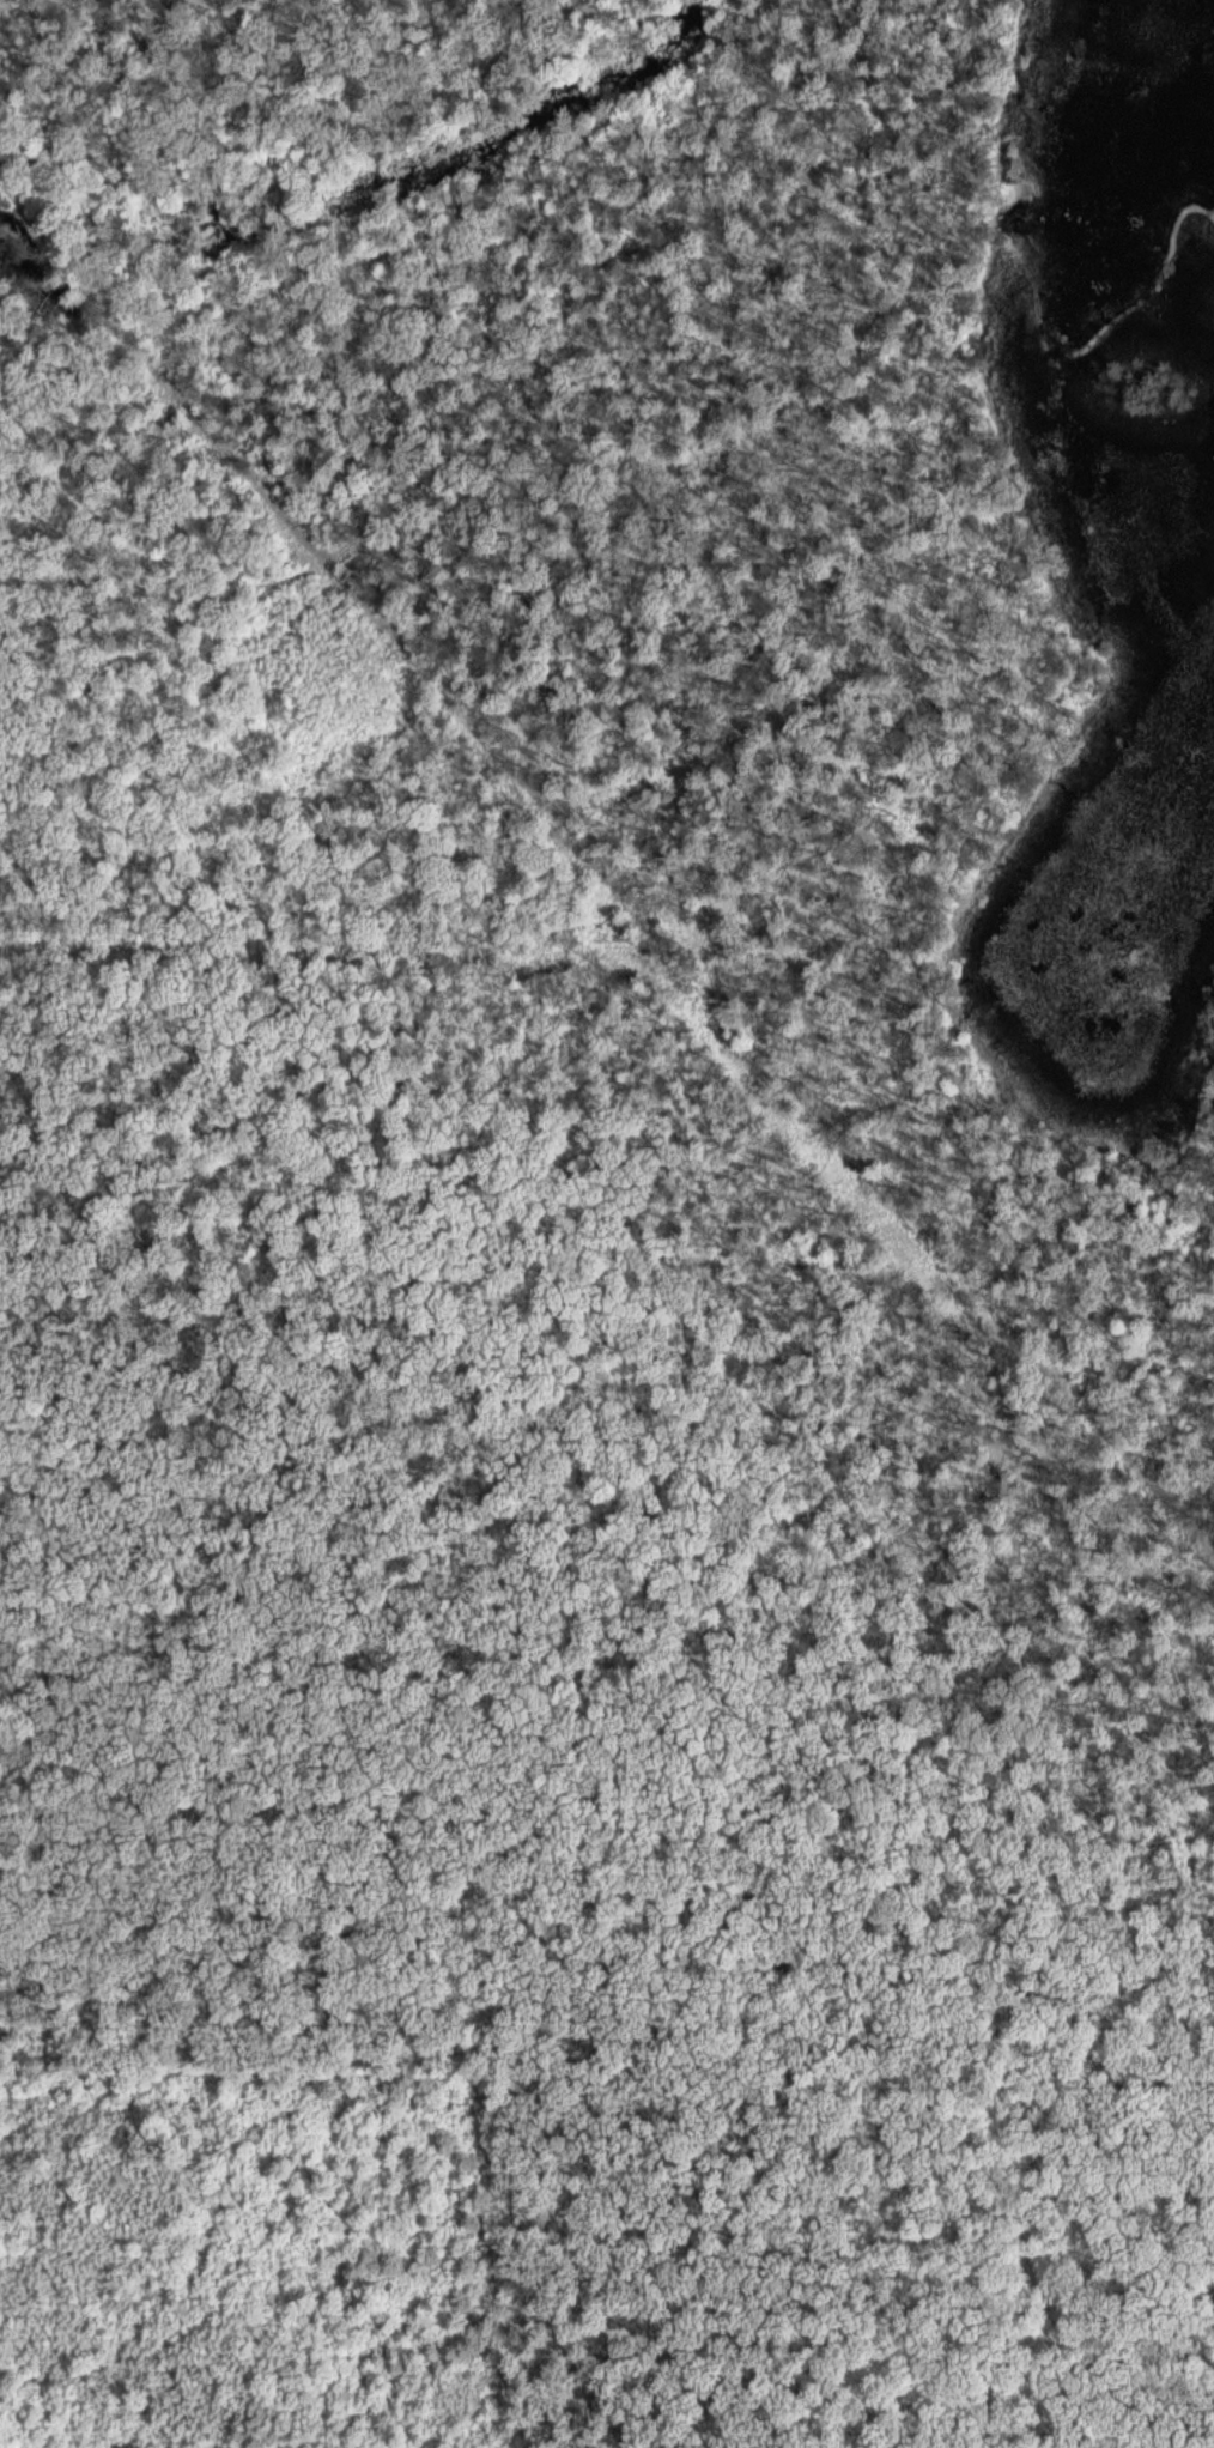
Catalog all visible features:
road: (77, 266)
road: (467, 696)
road: (997, 1271)

